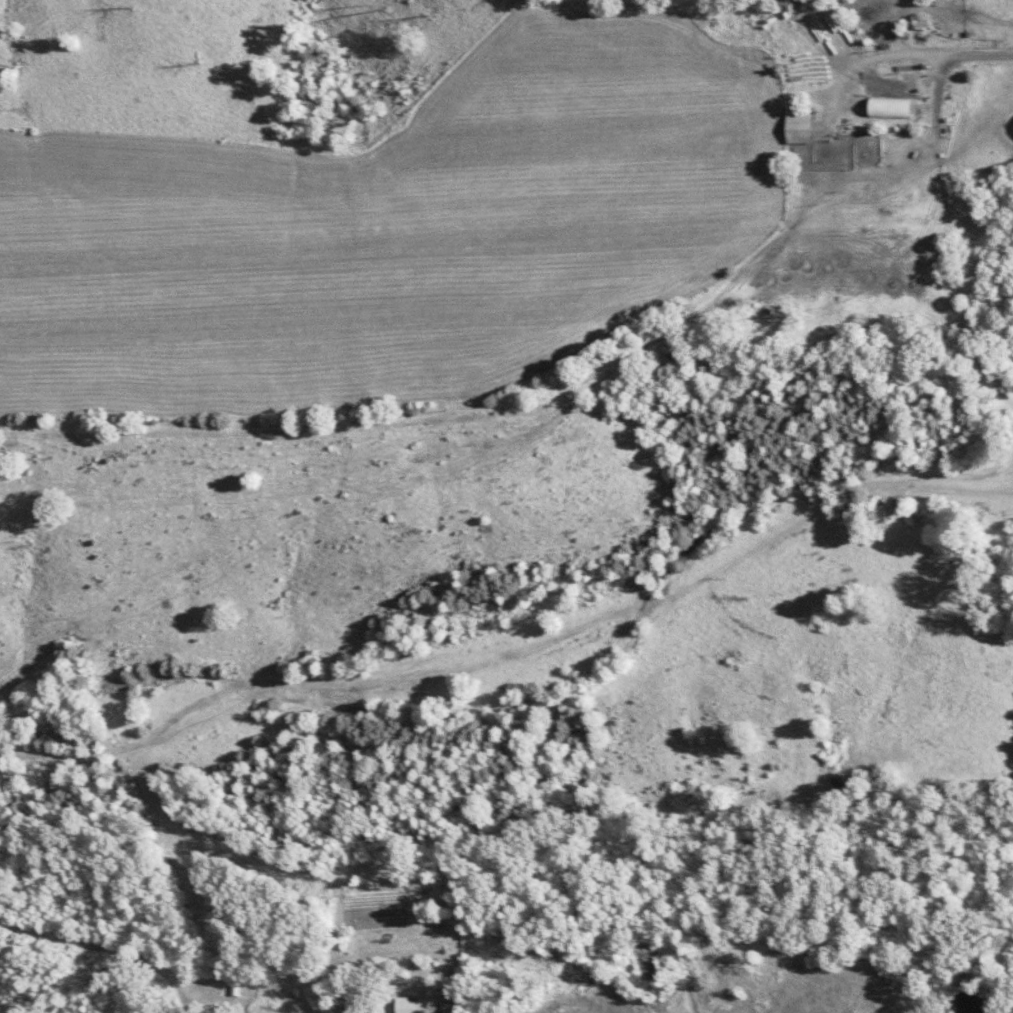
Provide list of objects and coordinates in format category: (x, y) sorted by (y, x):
road: (923, 52)
building: (894, 108)
building: (803, 129)
road: (741, 954)
road: (785, 988)
building: (422, 1006)
building: (454, 1006)
road: (657, 1008)

